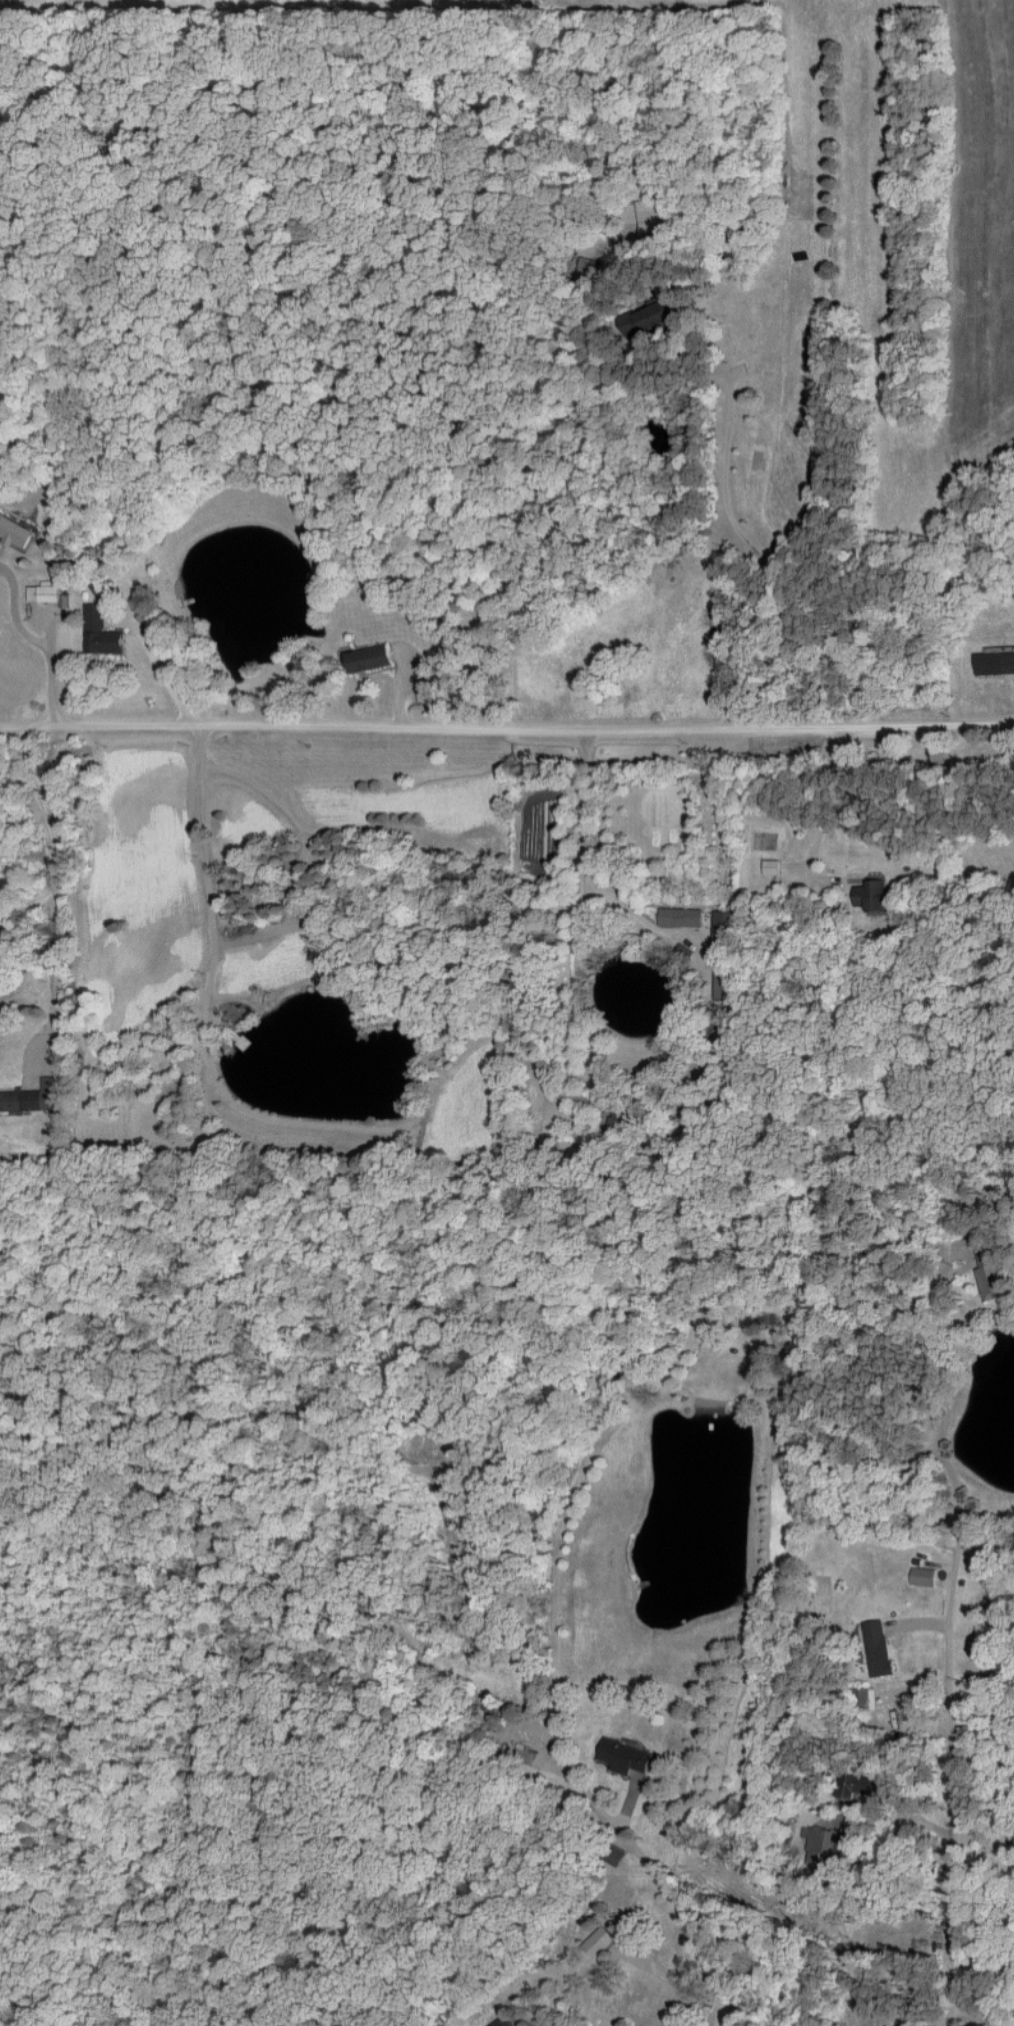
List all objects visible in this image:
building: (650, 226)
building: (14, 531)
road: (762, 558)
building: (43, 594)
building: (98, 632)
road: (35, 643)
building: (368, 659)
building: (995, 664)
road: (160, 667)
building: (424, 691)
building: (635, 707)
road: (507, 729)
road: (822, 815)
building: (239, 829)
road: (582, 851)
building: (101, 860)
road: (206, 869)
road: (54, 889)
building: (870, 896)
road: (27, 907)
building: (680, 916)
road: (639, 917)
building: (726, 929)
building: (724, 983)
building: (30, 1098)
building: (618, 1119)
building: (991, 1279)
building: (922, 1576)
road: (950, 1639)
building: (877, 1647)
building: (623, 1756)
building: (612, 1856)
road: (665, 1878)
road: (562, 1936)
building: (598, 1941)
building: (505, 2022)

